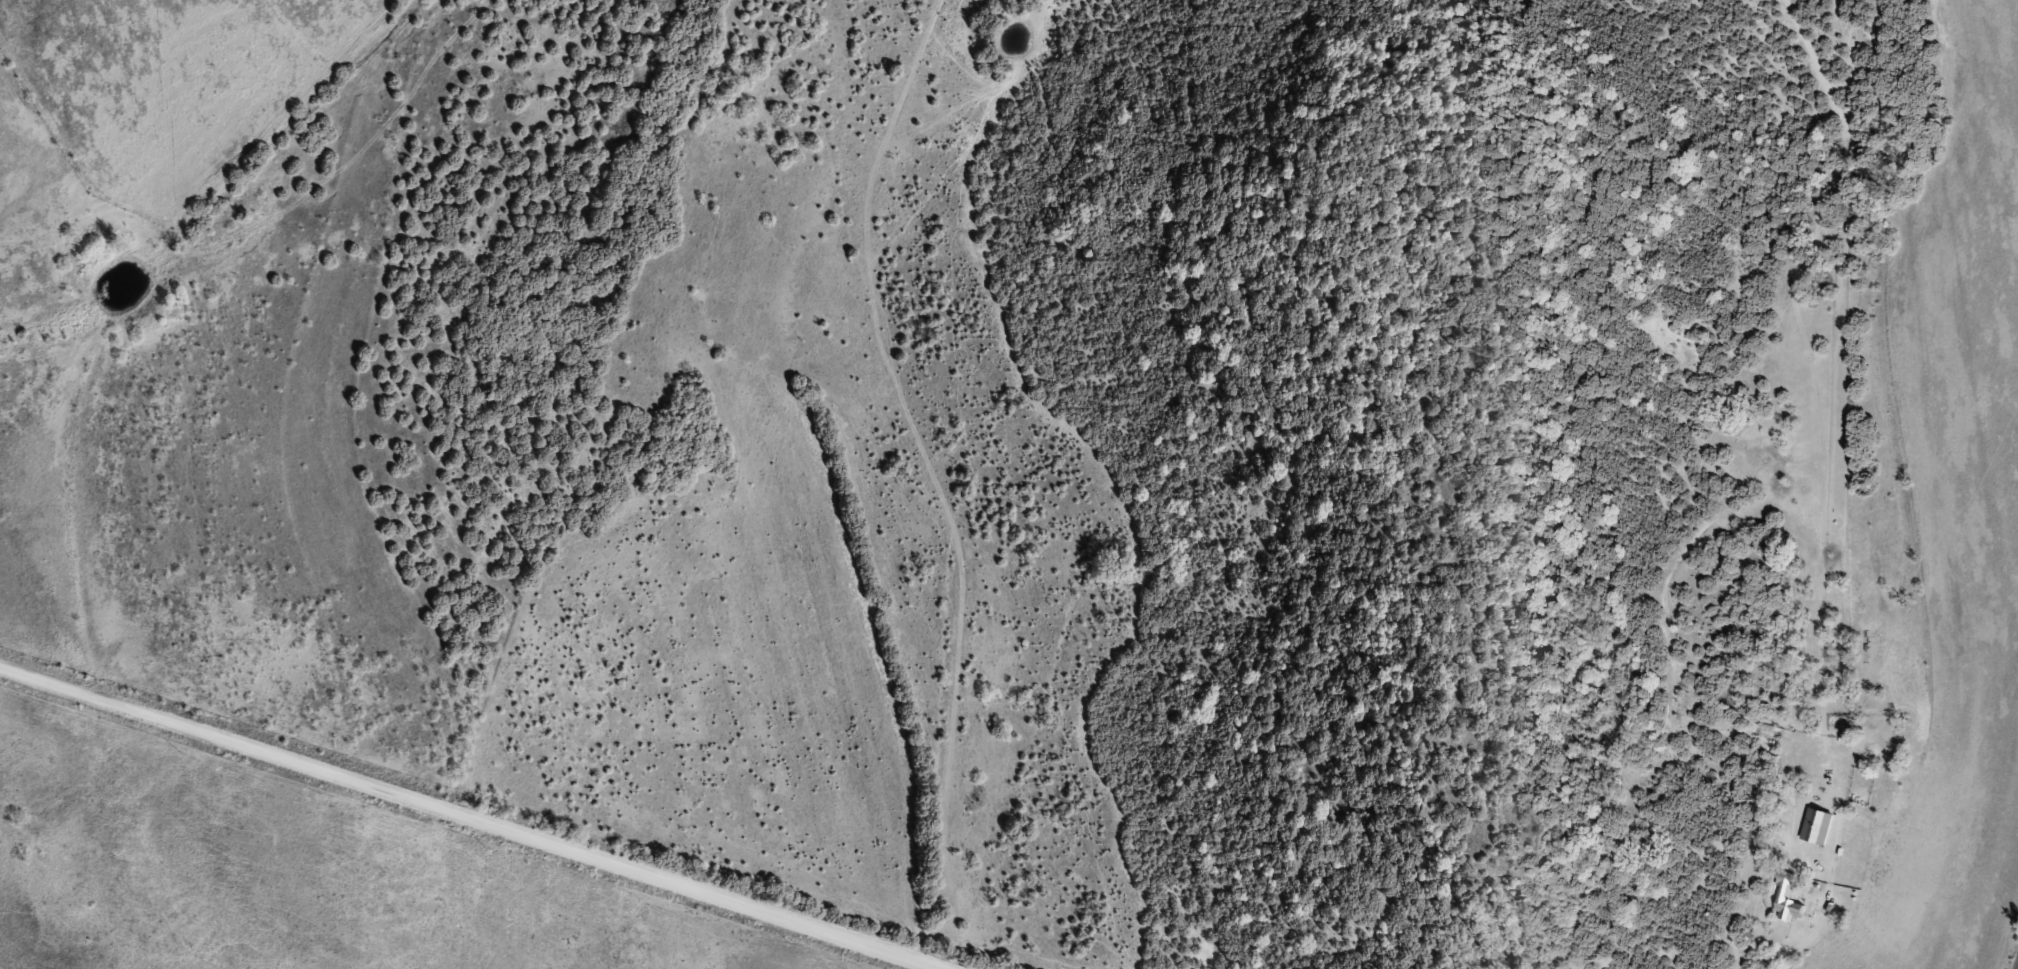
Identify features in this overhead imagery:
road: (476, 818)
building: (1817, 825)
building: (1789, 909)

